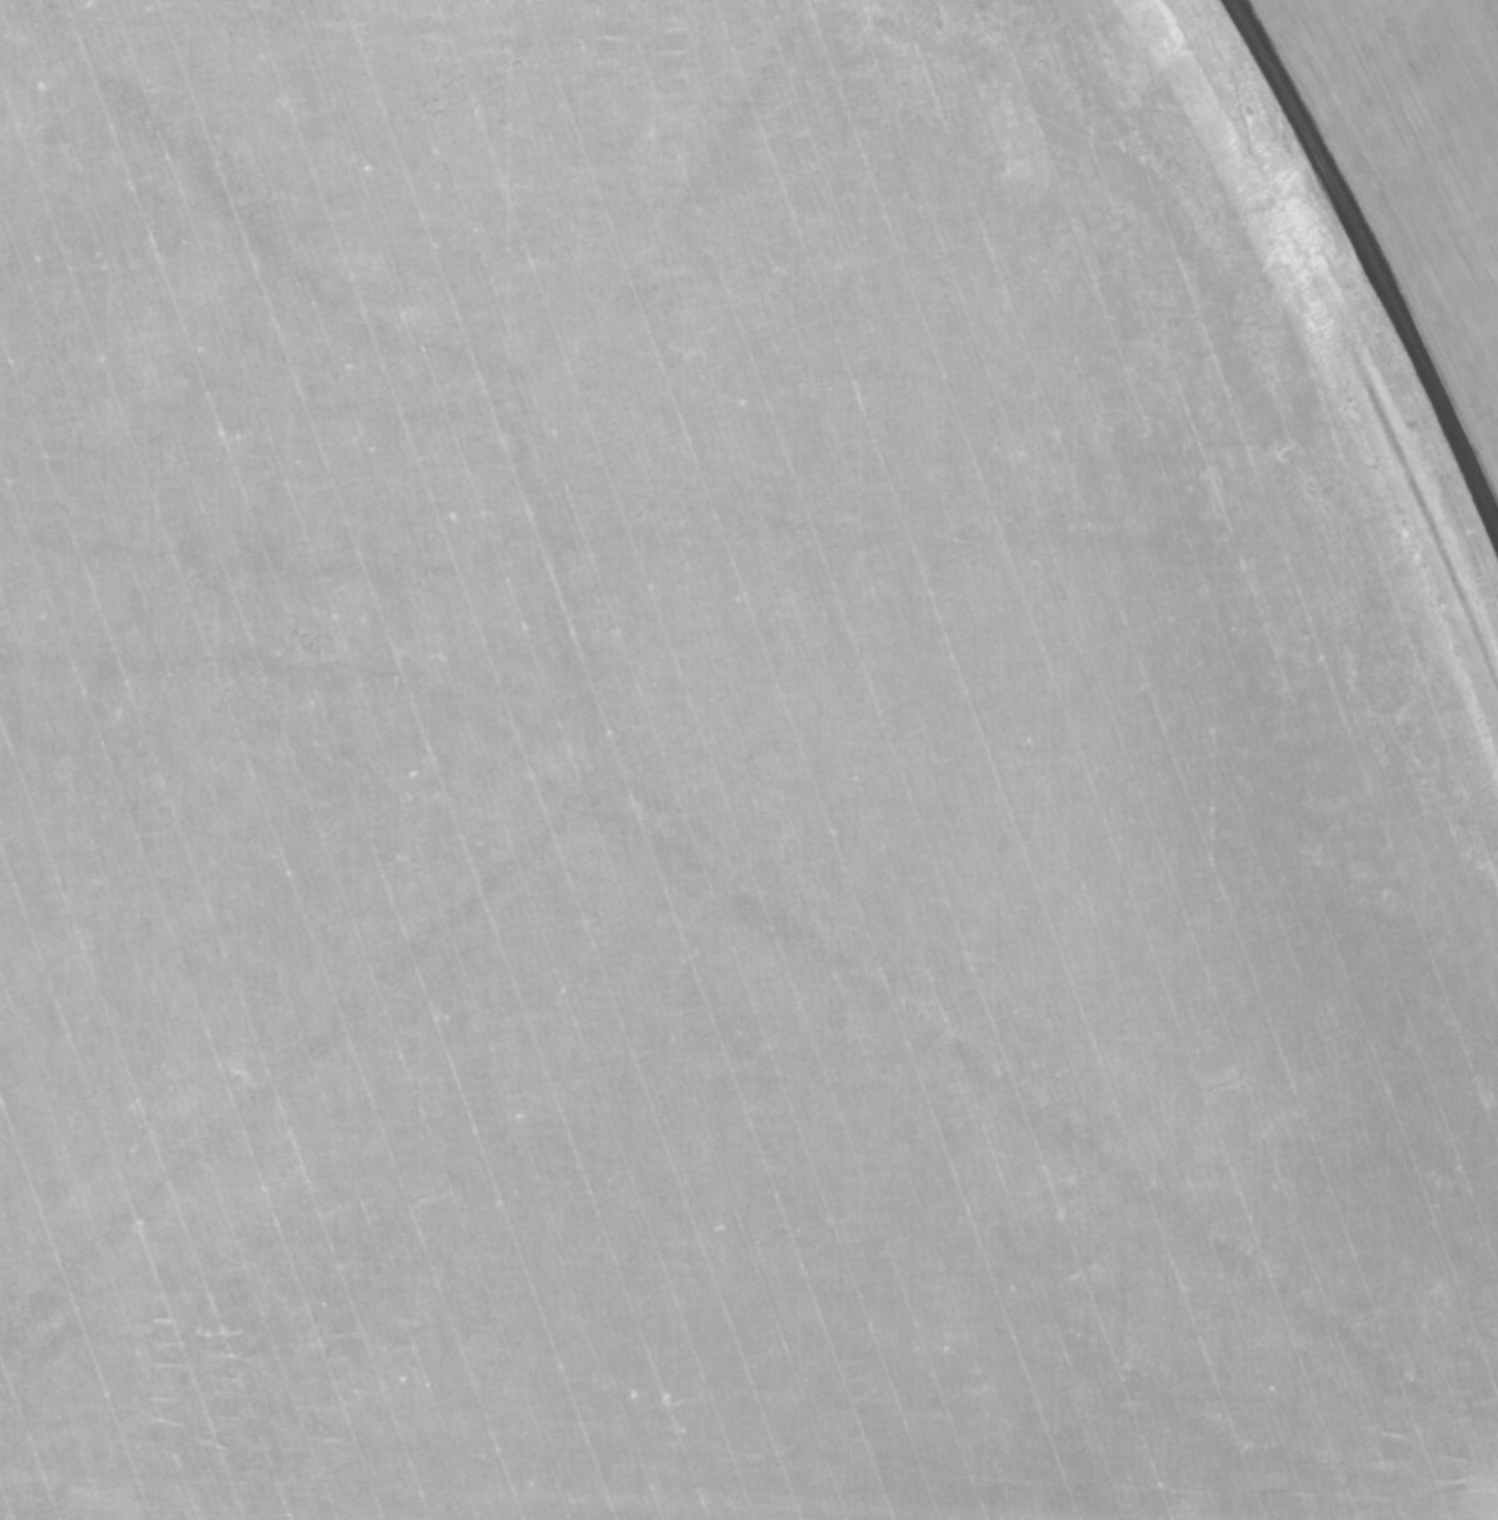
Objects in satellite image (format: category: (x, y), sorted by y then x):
road: (1374, 267)

